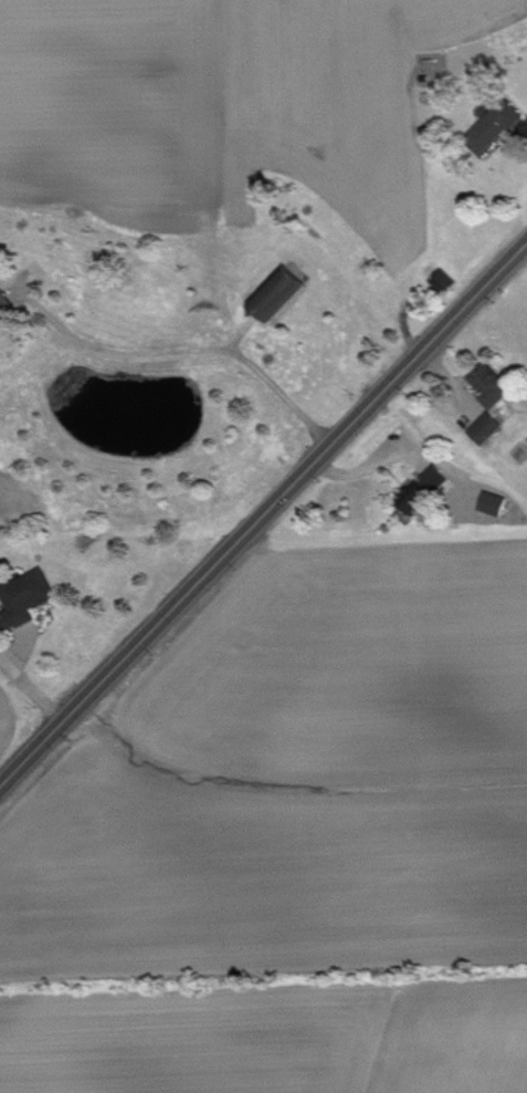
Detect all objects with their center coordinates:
building: (500, 129)
building: (451, 284)
building: (284, 296)
building: (8, 308)
road: (188, 351)
building: (497, 387)
building: (492, 431)
building: (441, 480)
building: (419, 500)
building: (499, 508)
road: (263, 514)
building: (31, 601)

